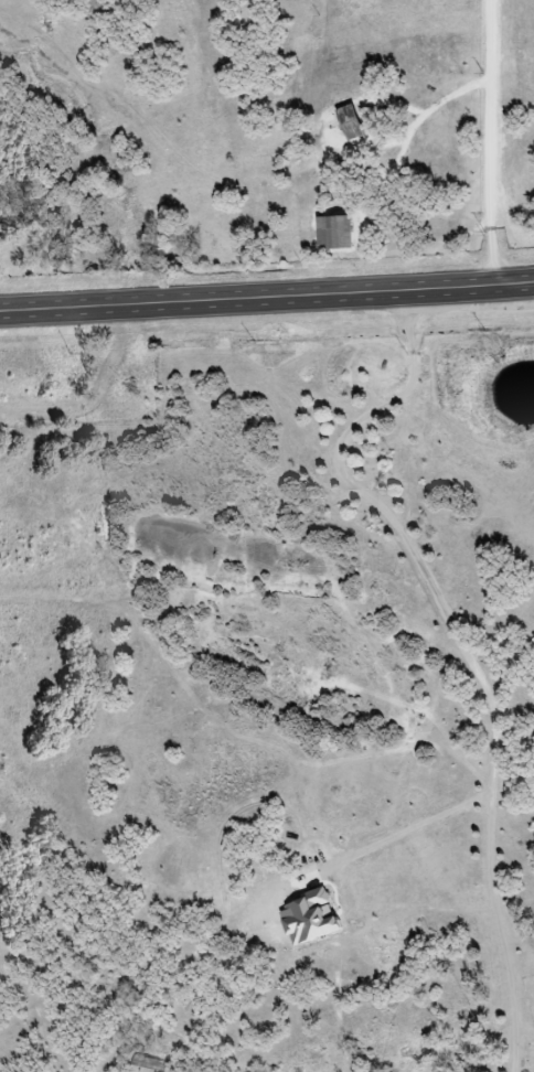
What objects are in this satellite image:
road: (489, 141)
road: (266, 296)
road: (449, 645)
road: (399, 829)
building: (145, 1064)

